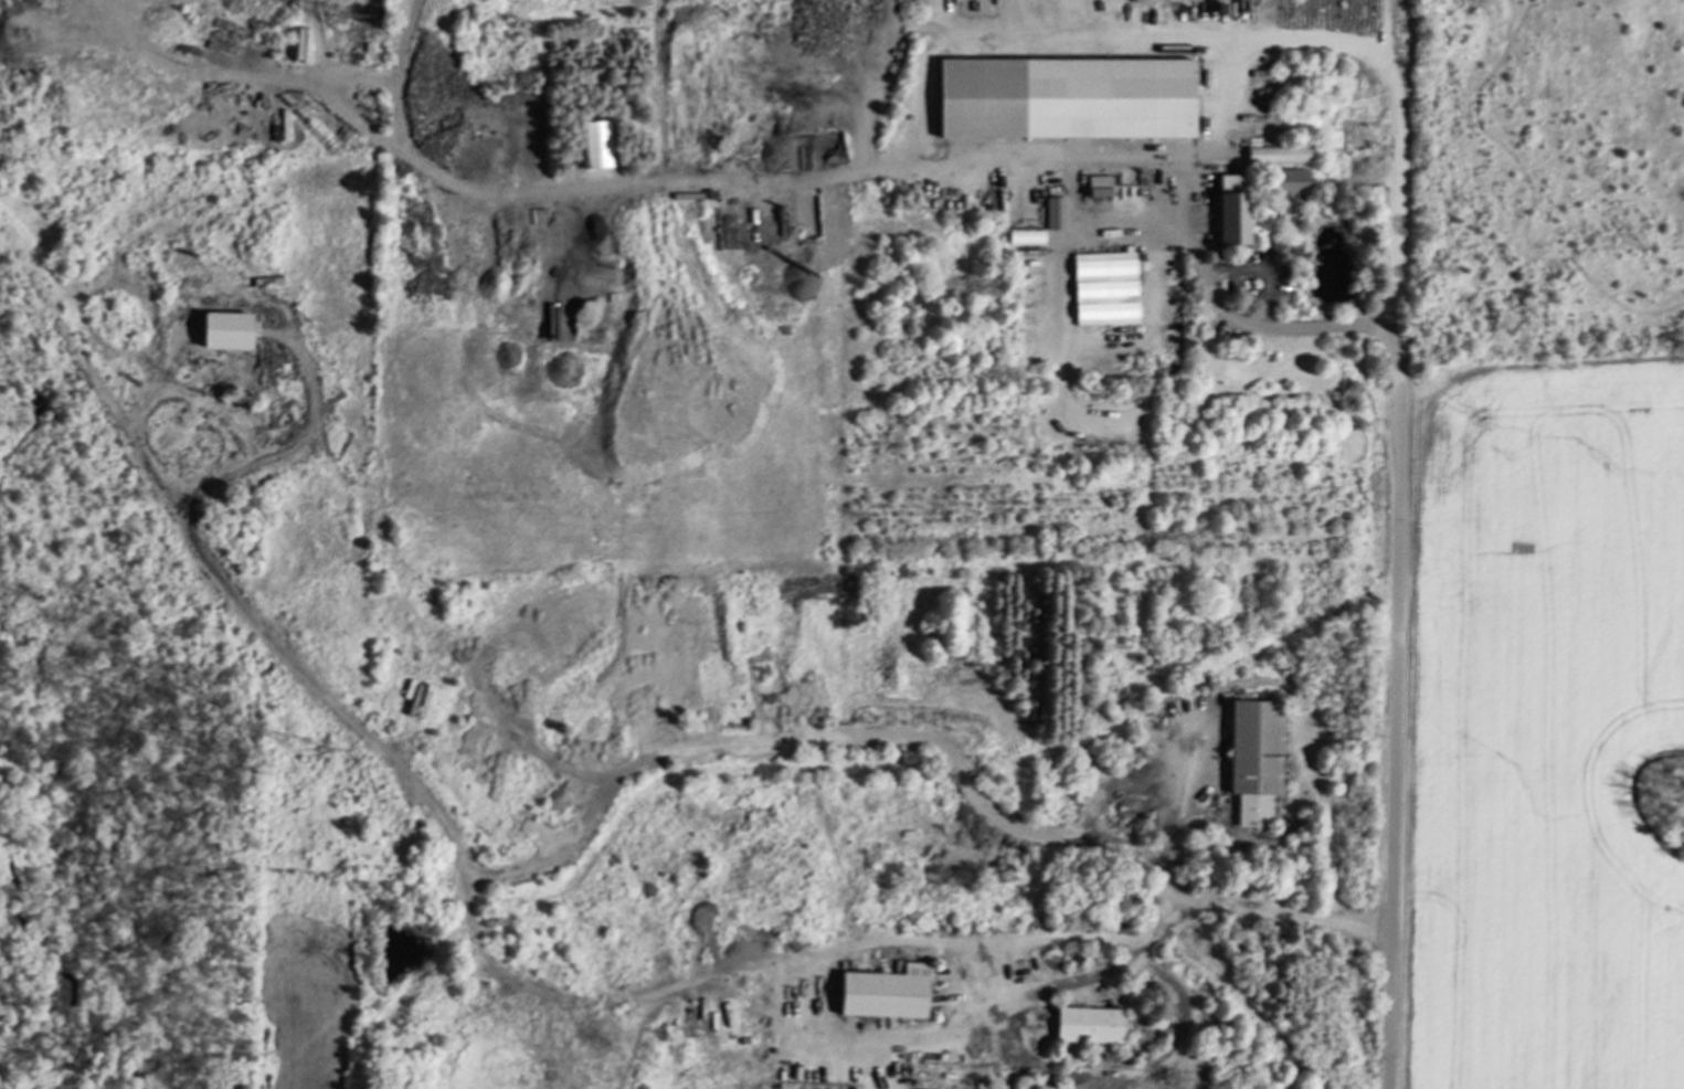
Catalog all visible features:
road: (1114, 17)
road: (1383, 18)
power tower: (340, 24)
road: (1074, 34)
building: (1065, 97)
building: (595, 144)
building: (1278, 154)
building: (1286, 181)
building: (1098, 186)
building: (1230, 209)
building: (1052, 212)
road: (1130, 224)
building: (1024, 234)
road: (1258, 268)
building: (1103, 286)
road: (1220, 309)
building: (225, 329)
road: (1066, 338)
road: (1395, 733)
crop: (1547, 736)
power tower: (318, 754)
building: (1253, 758)
road: (1327, 821)
road: (1195, 903)
building: (883, 992)
road: (1015, 997)
building: (1088, 1024)

